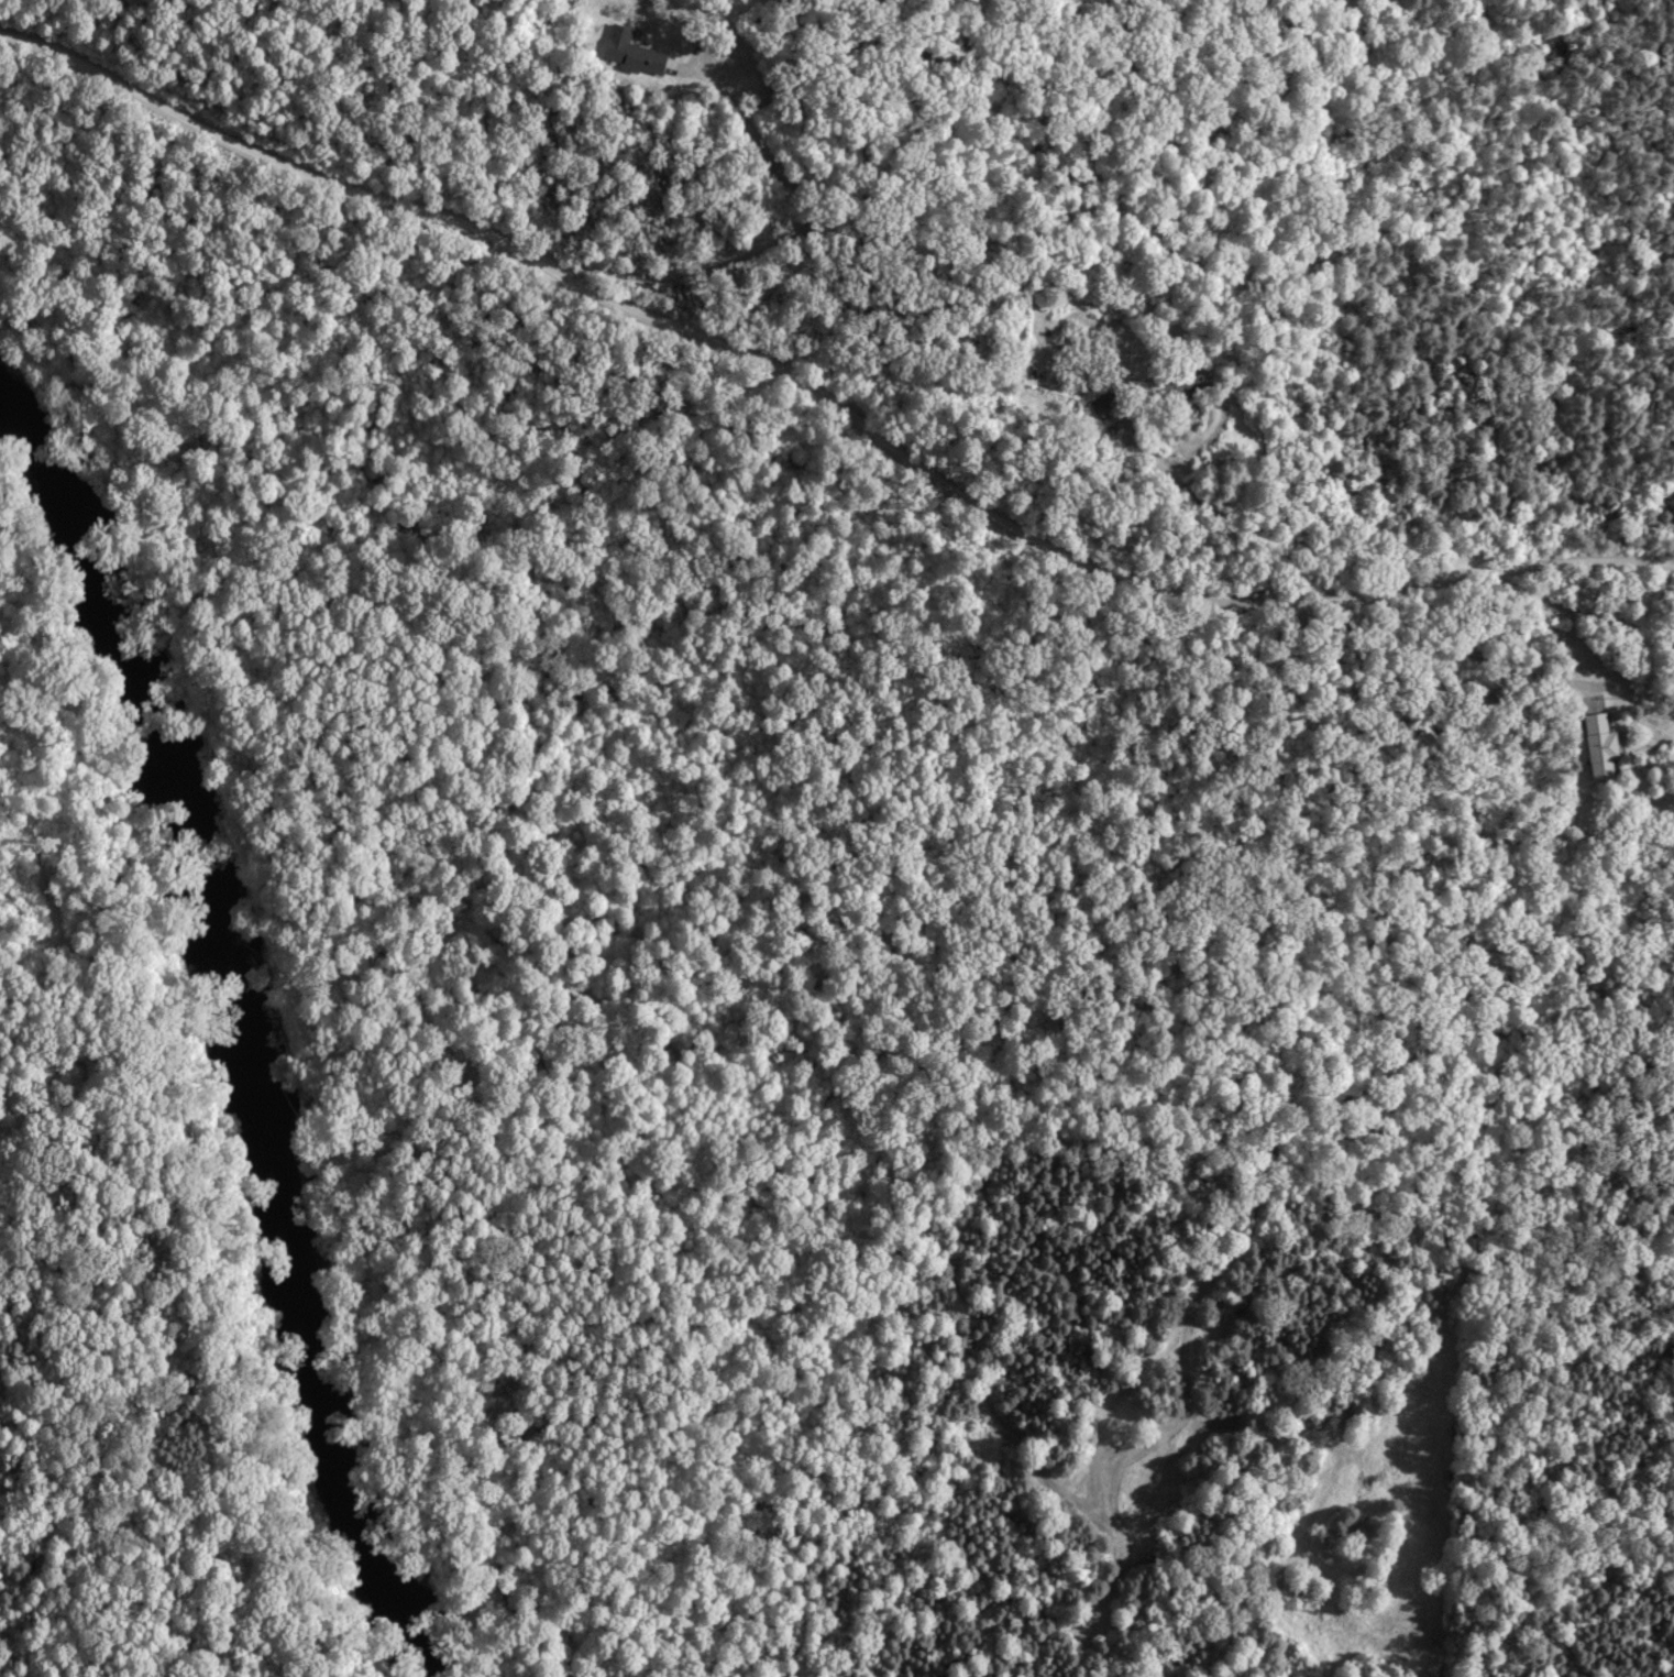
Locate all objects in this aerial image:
building: (631, 54)
road: (758, 245)
road: (834, 387)
building: (1178, 390)
building: (1597, 749)
river: (198, 1054)

